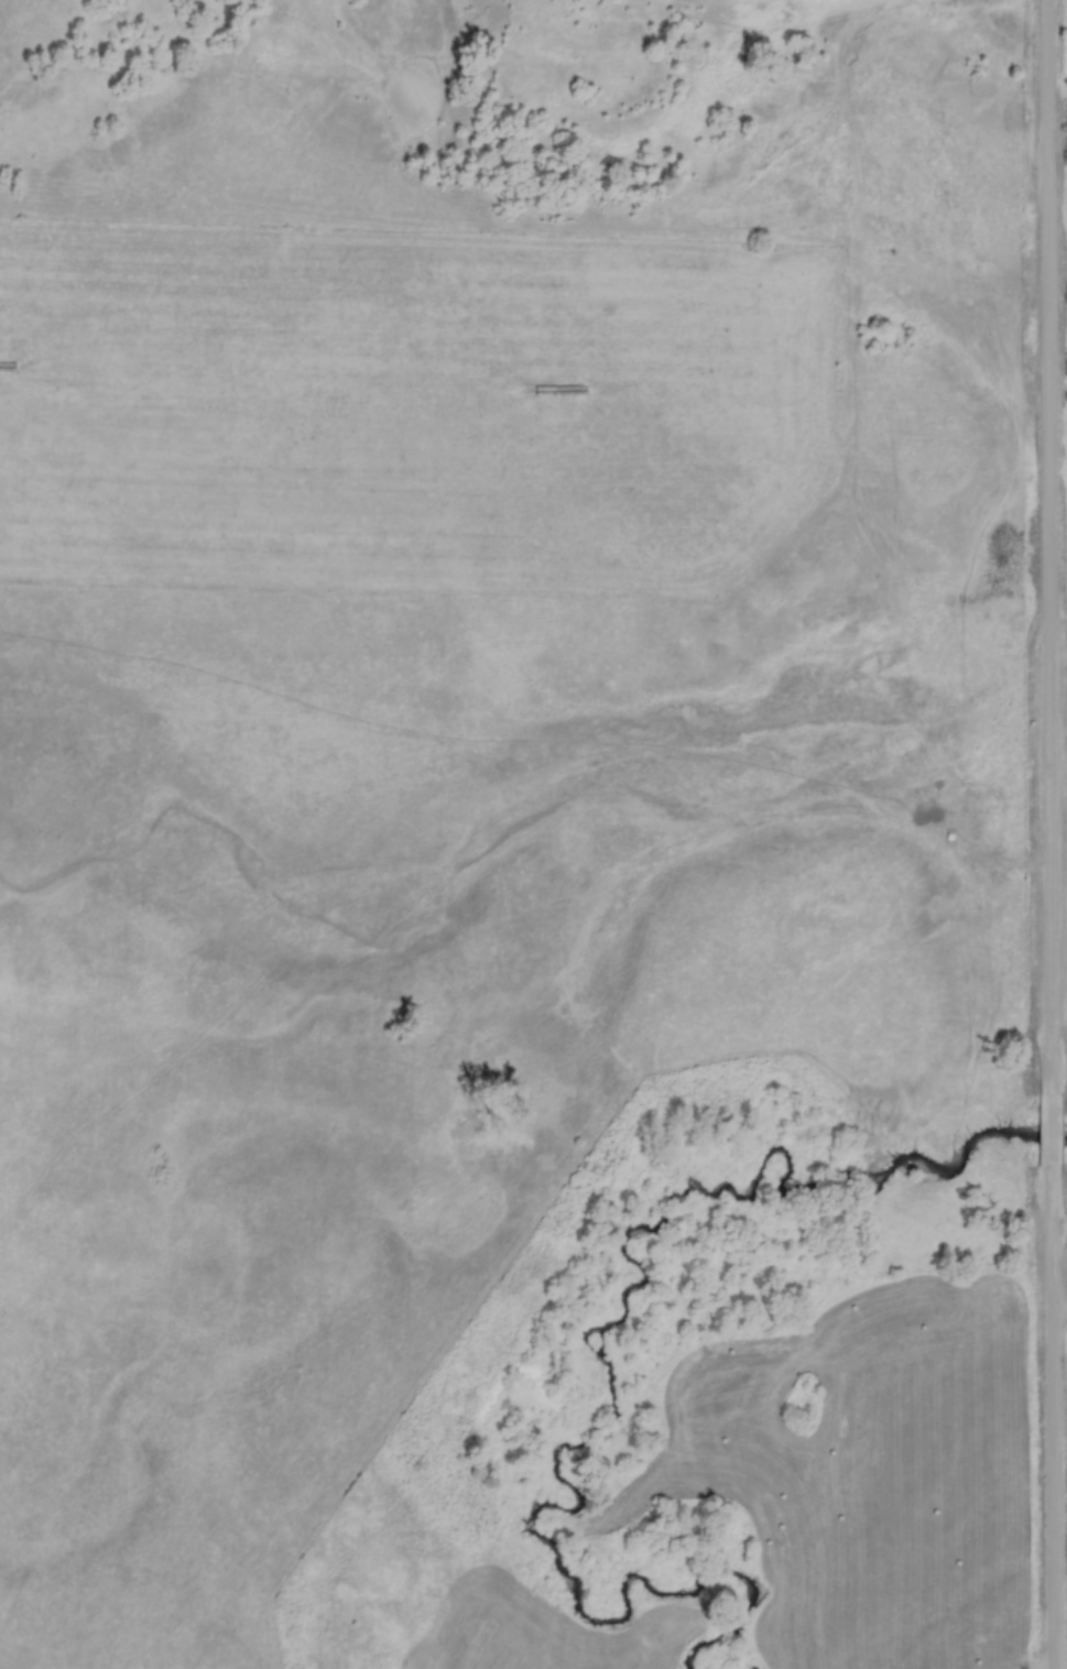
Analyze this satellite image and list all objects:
road: (1049, 546)
road: (1054, 1128)
road: (1055, 1416)

